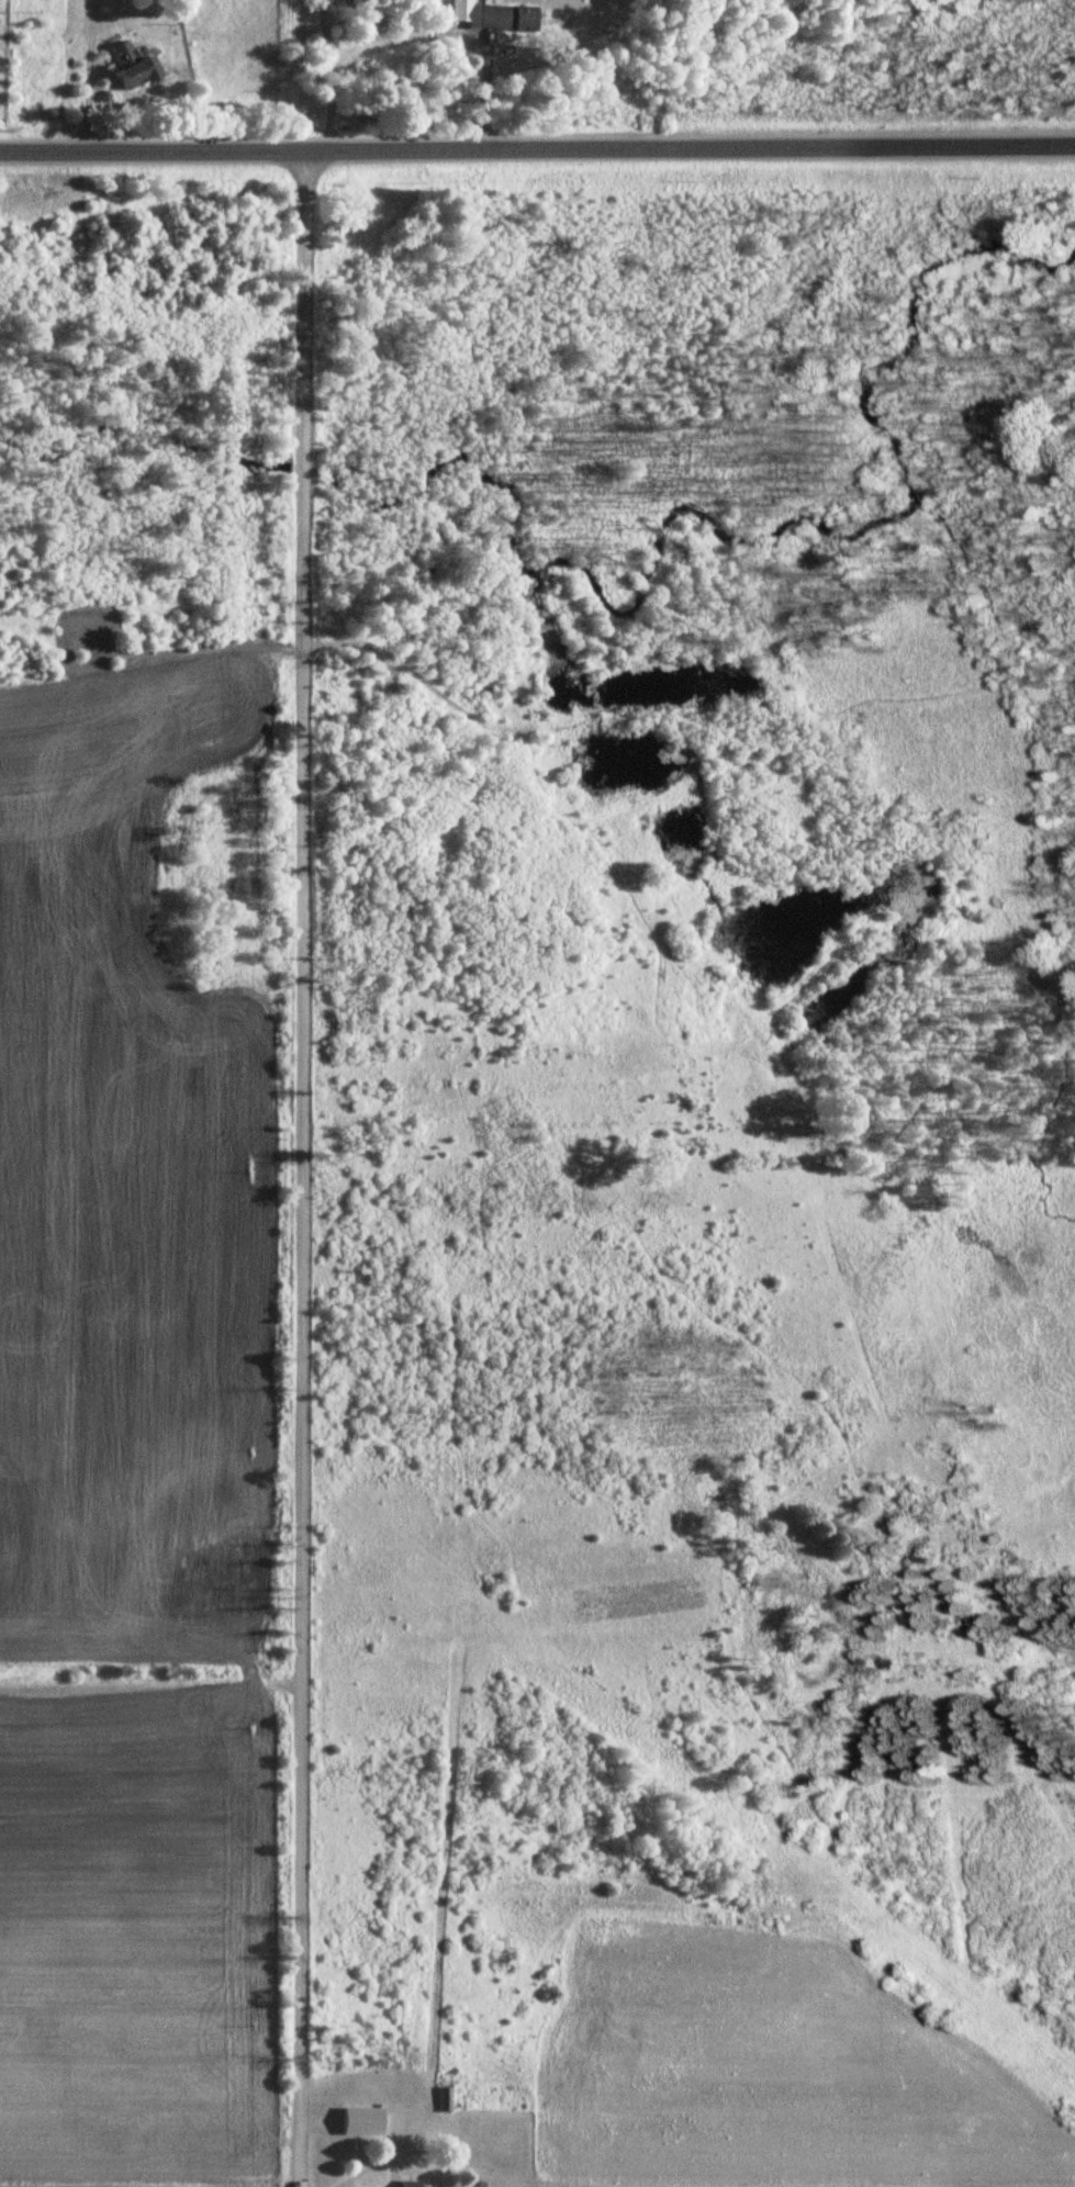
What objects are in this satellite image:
building: (486, 15)
road: (350, 54)
building: (128, 66)
road: (89, 86)
road: (537, 152)
road: (301, 1169)
building: (441, 2099)

